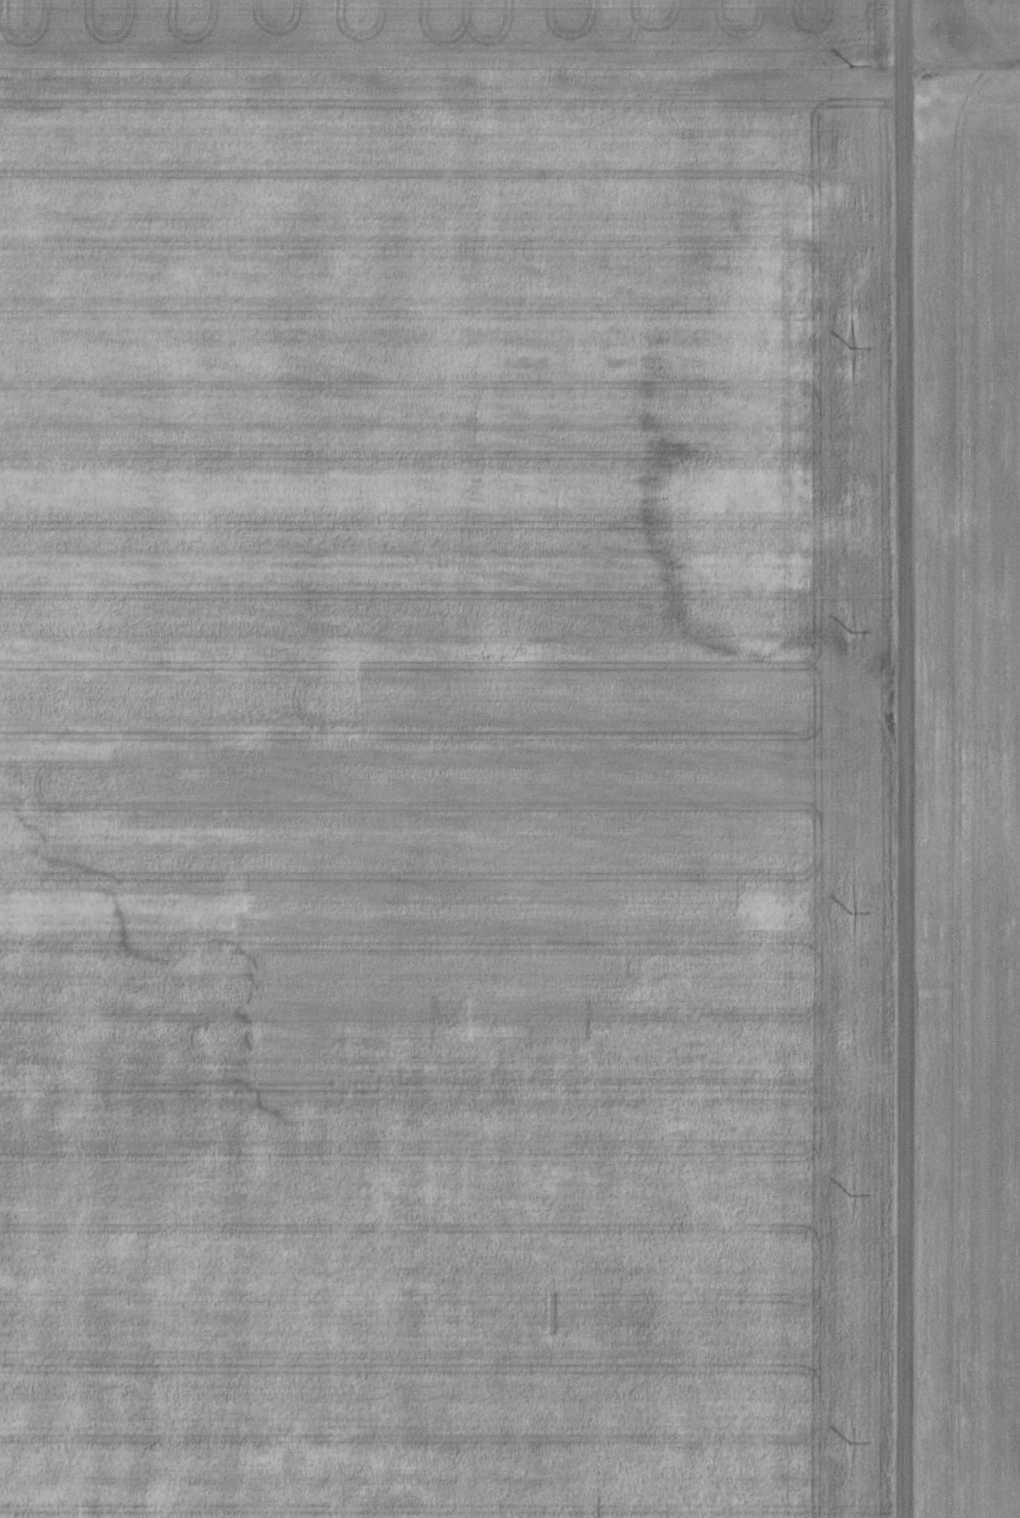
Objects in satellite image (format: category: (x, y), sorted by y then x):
road: (963, 69)
road: (904, 759)

